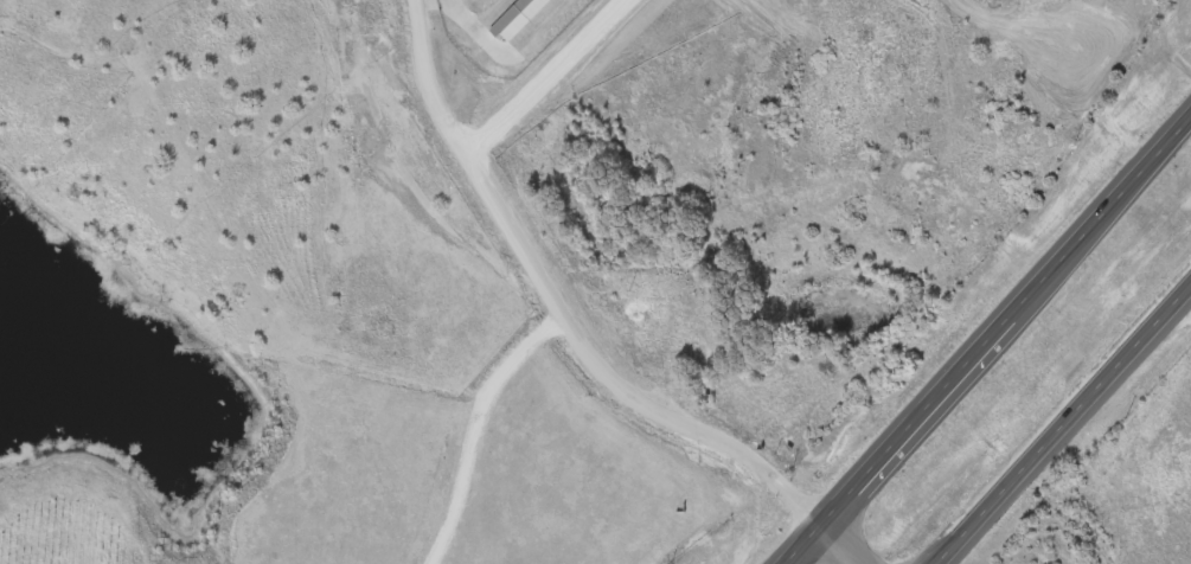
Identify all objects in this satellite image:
road: (551, 78)
road: (1184, 300)
road: (577, 328)
road: (990, 342)
road: (474, 422)
road: (1059, 422)

